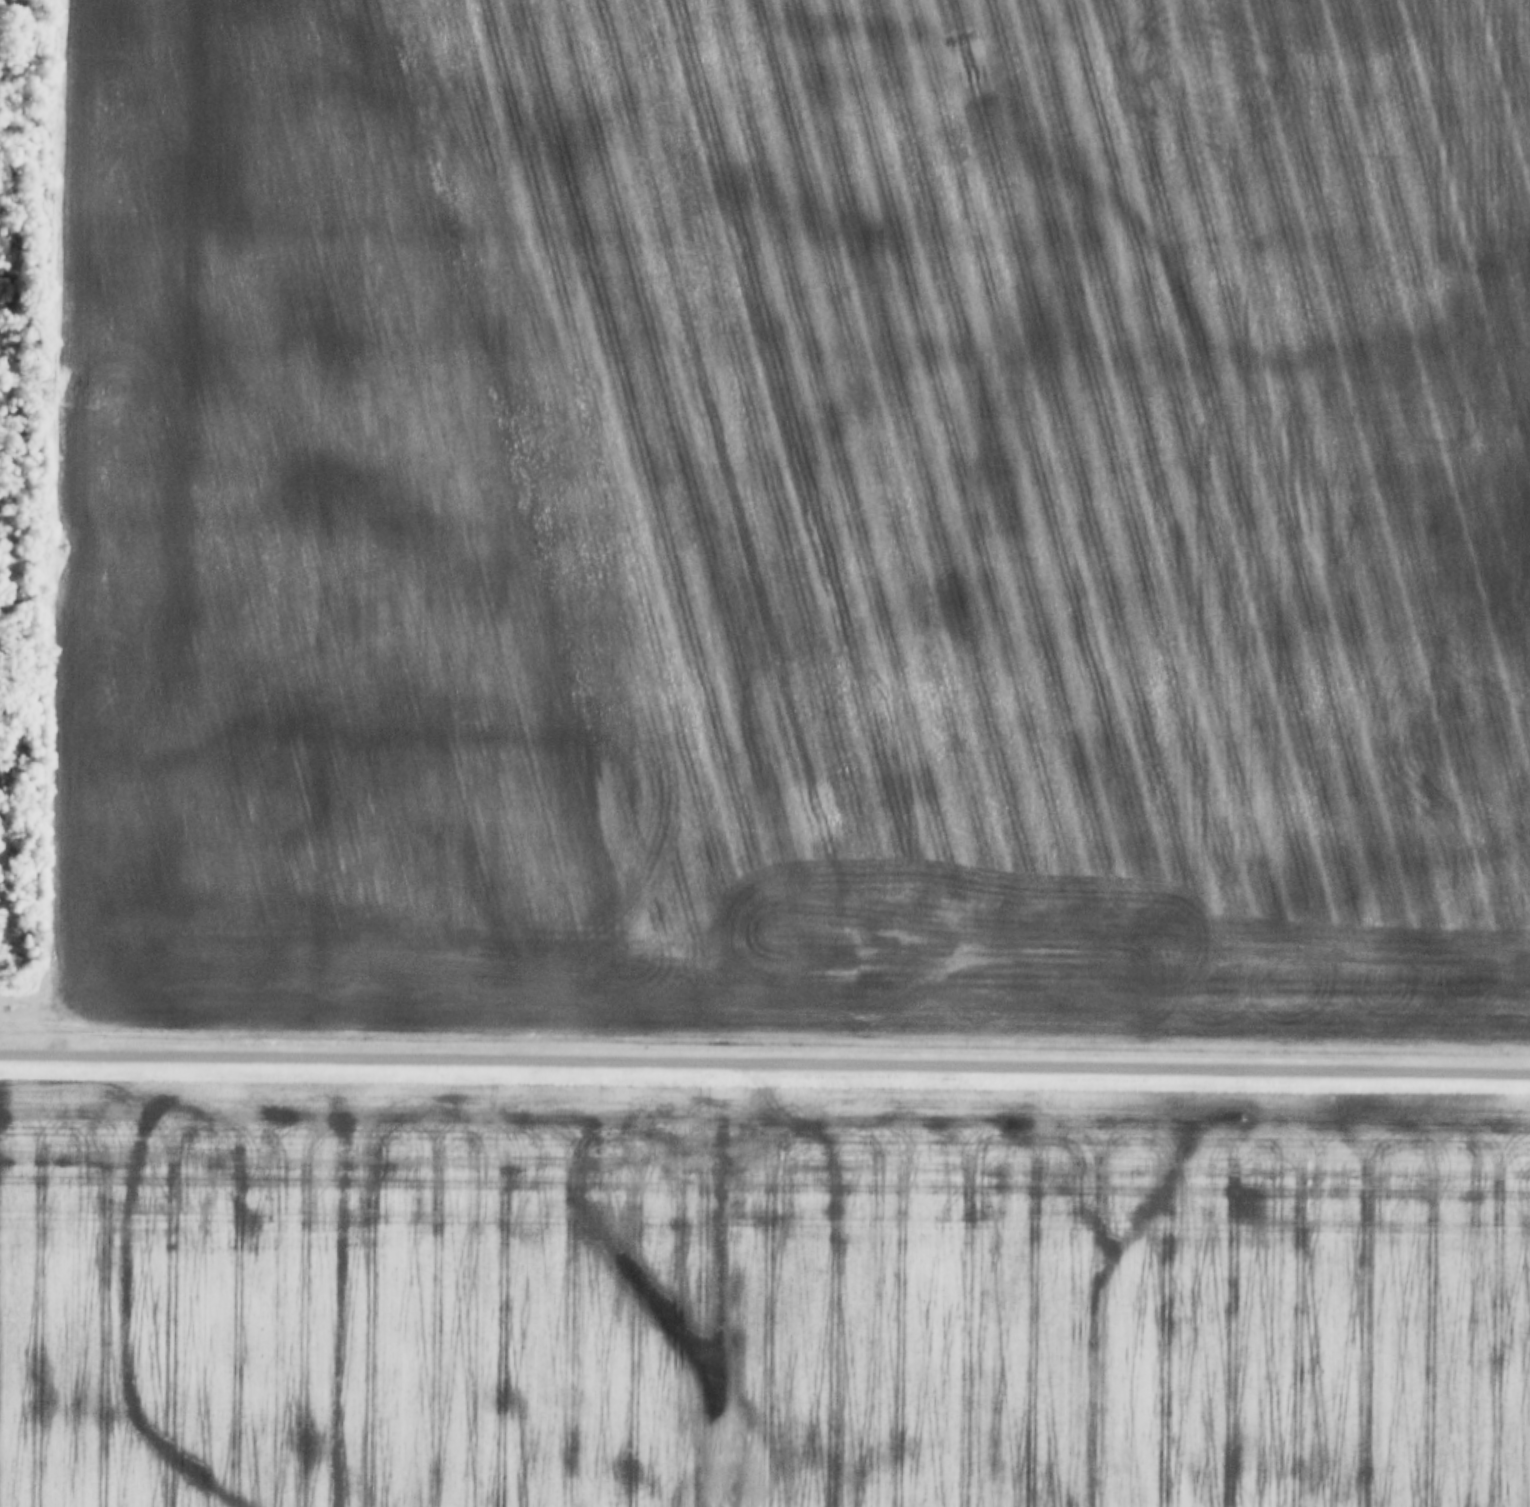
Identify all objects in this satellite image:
road: (765, 1063)

